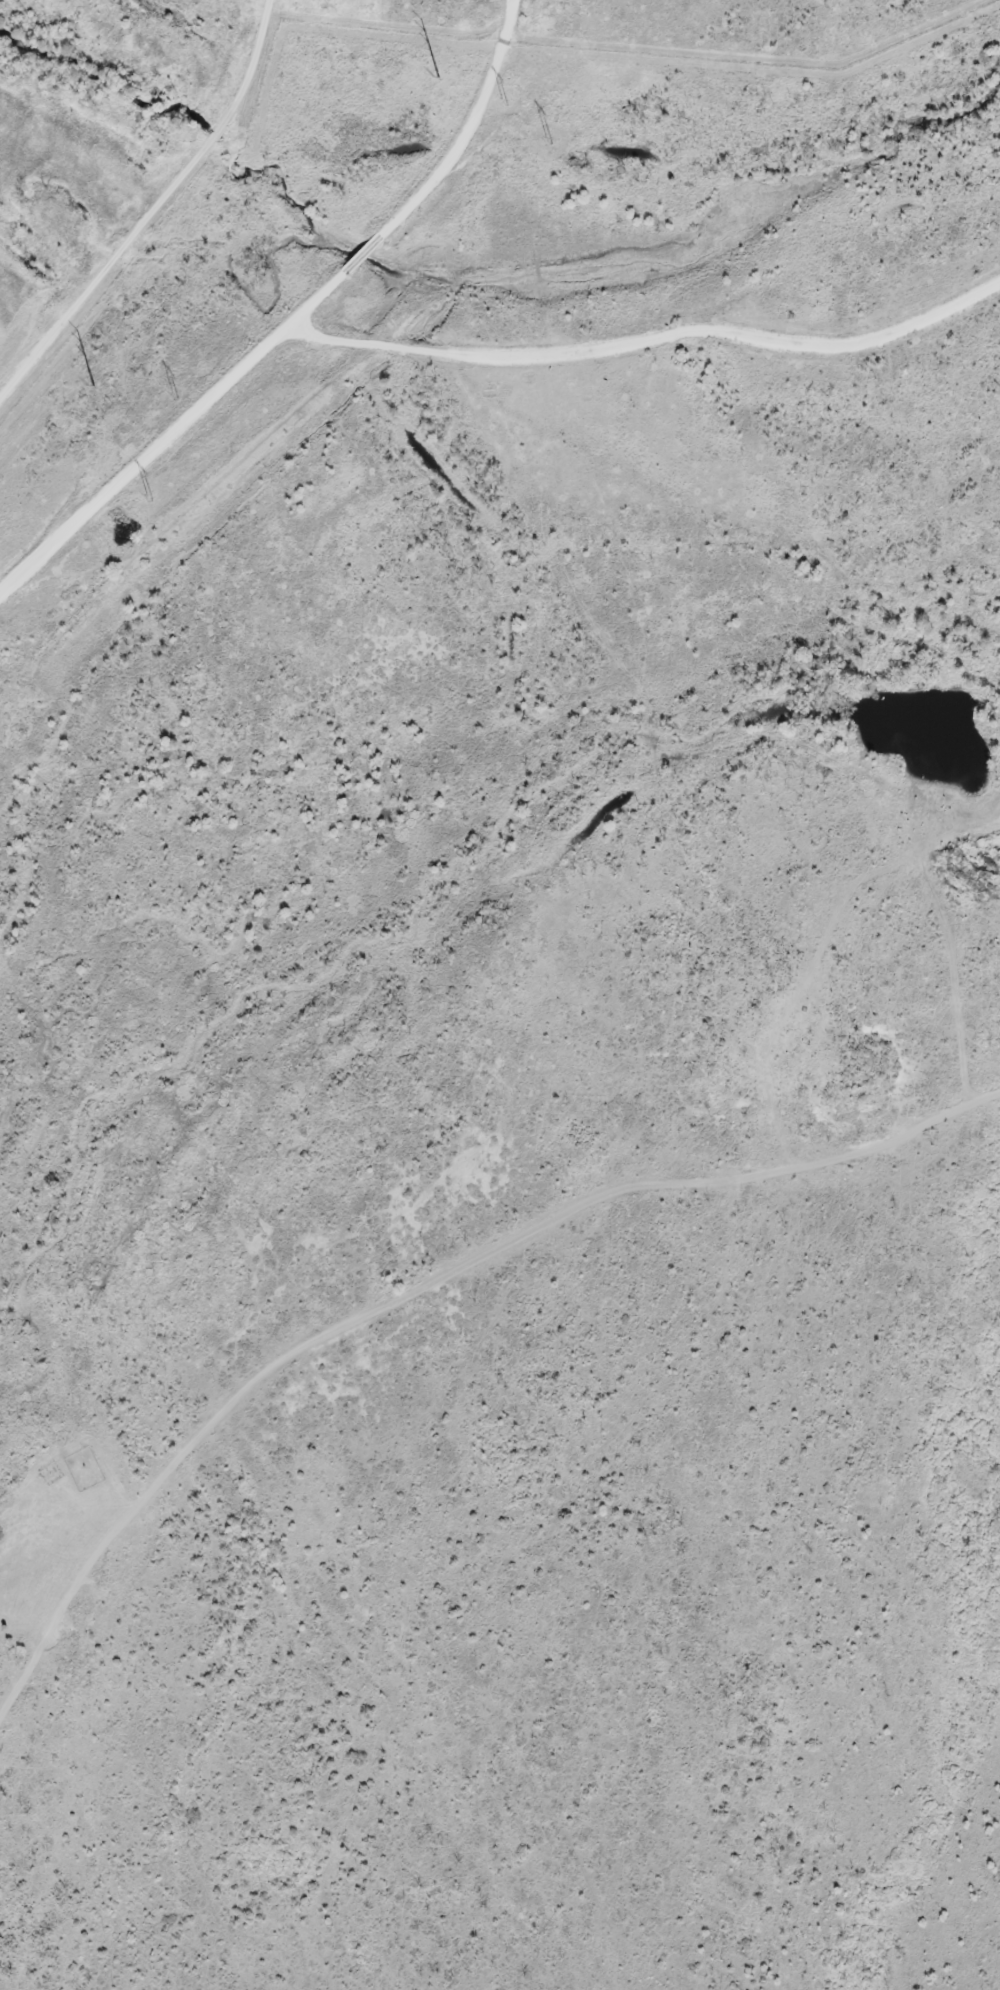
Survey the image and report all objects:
power tower: (439, 80)
power tower: (507, 101)
power tower: (548, 139)
road: (438, 343)
power tower: (93, 387)
power tower: (187, 390)
road: (133, 444)
power tower: (149, 499)

